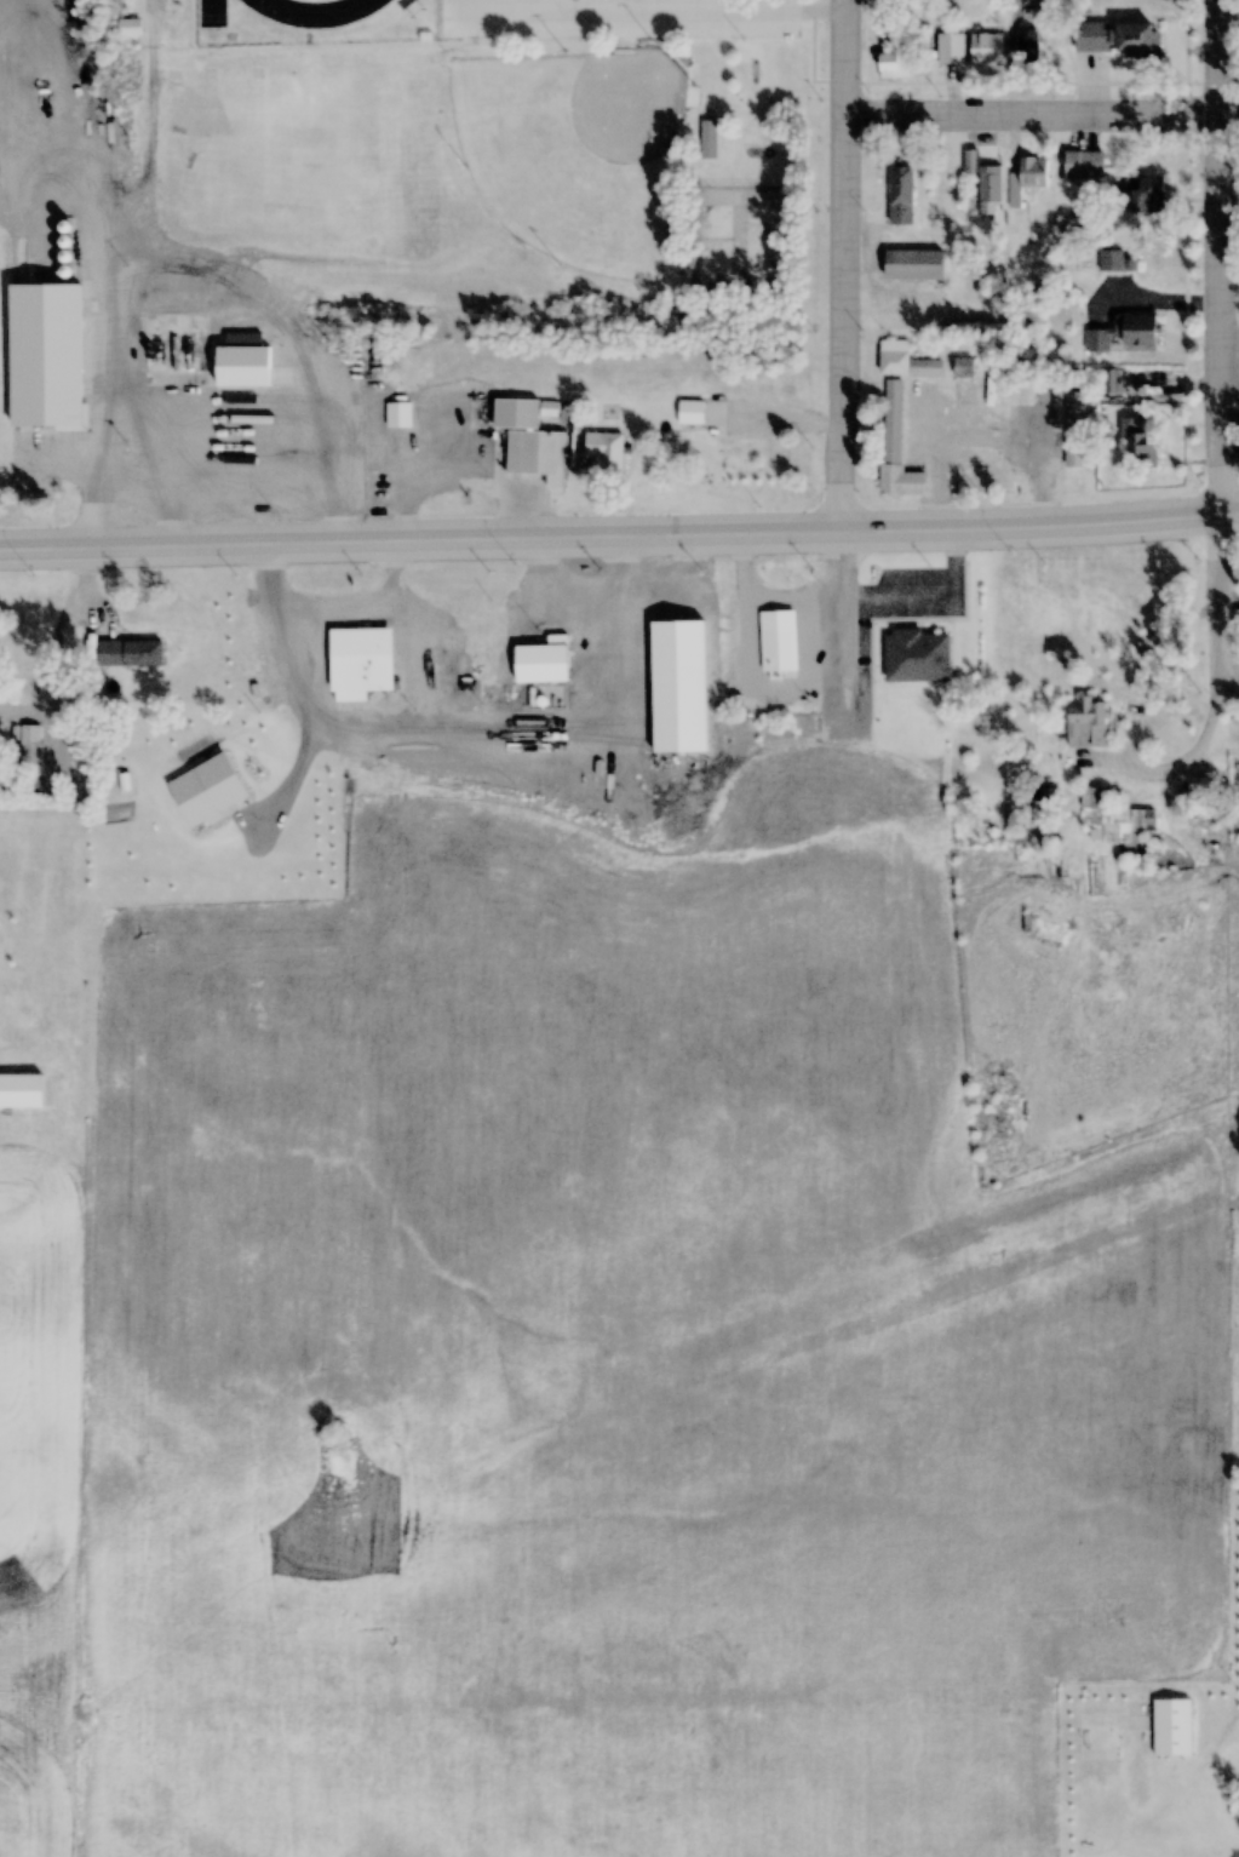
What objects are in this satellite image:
building: (887, 1)
track: (316, 11)
track: (211, 12)
building: (131, 28)
building: (1092, 36)
building: (1136, 41)
building: (1027, 46)
building: (986, 48)
building: (951, 52)
building: (895, 55)
road: (1044, 120)
building: (709, 139)
park: (574, 151)
building: (1084, 165)
building: (1027, 180)
building: (990, 183)
building: (901, 194)
building: (1143, 195)
park: (738, 236)
road: (1226, 258)
building: (1115, 262)
building: (913, 264)
road: (847, 266)
building: (1122, 333)
building: (46, 355)
building: (203, 355)
building: (904, 360)
building: (1114, 382)
building: (690, 413)
building: (398, 415)
building: (1074, 430)
building: (1138, 440)
building: (527, 441)
building: (896, 446)
building: (606, 453)
road: (643, 539)
road: (23, 554)
road: (1222, 626)
building: (779, 649)
building: (134, 653)
building: (916, 655)
building: (678, 660)
building: (543, 661)
building: (360, 663)
building: (1086, 722)
building: (27, 749)
building: (1199, 786)
building: (1046, 793)
building: (1118, 819)
building: (1172, 1726)

